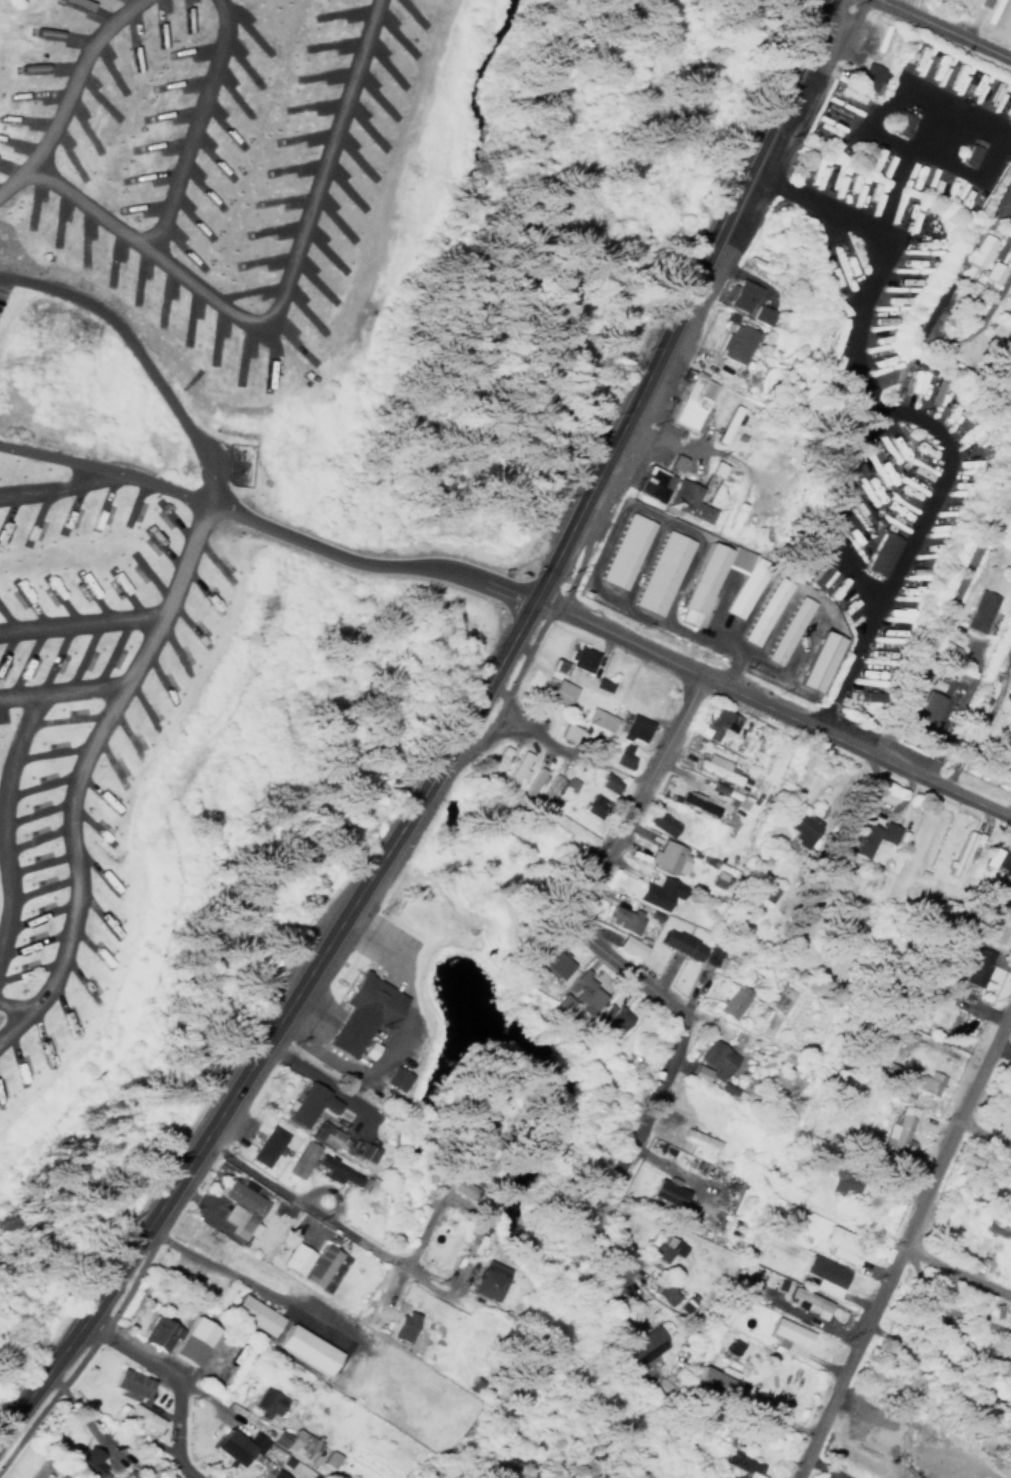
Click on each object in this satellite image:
building: (982, 3)
road: (949, 27)
building: (869, 76)
building: (1007, 107)
road: (950, 110)
building: (898, 122)
building: (968, 155)
road: (901, 162)
road: (1007, 186)
building: (976, 251)
building: (990, 272)
road: (993, 294)
building: (739, 295)
building: (759, 314)
building: (733, 343)
road: (856, 351)
building: (691, 401)
building: (724, 424)
building: (675, 462)
building: (714, 467)
building: (651, 482)
building: (685, 501)
road: (269, 523)
road: (907, 544)
building: (624, 550)
building: (880, 553)
building: (801, 561)
building: (660, 572)
building: (819, 574)
building: (695, 589)
building: (763, 610)
building: (977, 610)
road: (943, 619)
building: (786, 629)
building: (578, 657)
building: (817, 660)
building: (555, 665)
building: (556, 691)
building: (861, 696)
road: (772, 704)
building: (925, 708)
road: (985, 718)
building: (597, 719)
building: (717, 722)
building: (631, 726)
road: (454, 736)
building: (621, 755)
building: (494, 764)
building: (716, 769)
building: (514, 773)
building: (605, 782)
building: (530, 783)
building: (550, 791)
building: (693, 802)
building: (660, 822)
building: (798, 823)
building: (573, 831)
building: (864, 837)
building: (960, 851)
building: (995, 855)
building: (666, 857)
building: (1007, 877)
building: (656, 892)
building: (622, 918)
building: (993, 923)
road: (600, 943)
building: (679, 943)
building: (627, 945)
building: (707, 958)
building: (971, 959)
building: (554, 964)
building: (528, 978)
building: (583, 992)
building: (730, 1001)
building: (359, 1011)
building: (606, 1019)
building: (886, 1071)
building: (394, 1078)
building: (924, 1082)
building: (306, 1104)
building: (897, 1129)
road: (981, 1131)
building: (323, 1134)
building: (264, 1145)
building: (299, 1158)
building: (334, 1170)
building: (838, 1180)
building: (458, 1187)
building: (665, 1190)
road: (320, 1208)
building: (239, 1209)
building: (992, 1225)
road: (902, 1237)
building: (840, 1245)
building: (664, 1249)
building: (293, 1258)
building: (319, 1265)
road: (954, 1273)
building: (823, 1275)
road: (264, 1276)
building: (488, 1280)
building: (740, 1284)
building: (661, 1292)
building: (807, 1302)
building: (252, 1314)
building: (401, 1326)
building: (156, 1334)
building: (787, 1337)
building: (189, 1340)
building: (641, 1344)
building: (303, 1348)
road: (174, 1378)
building: (709, 1382)
building: (129, 1384)
building: (264, 1402)
building: (137, 1417)
building: (293, 1442)
building: (233, 1445)
building: (328, 1459)
building: (736, 1460)
building: (85, 1461)
building: (127, 1474)
building: (272, 1474)
building: (167, 1476)

